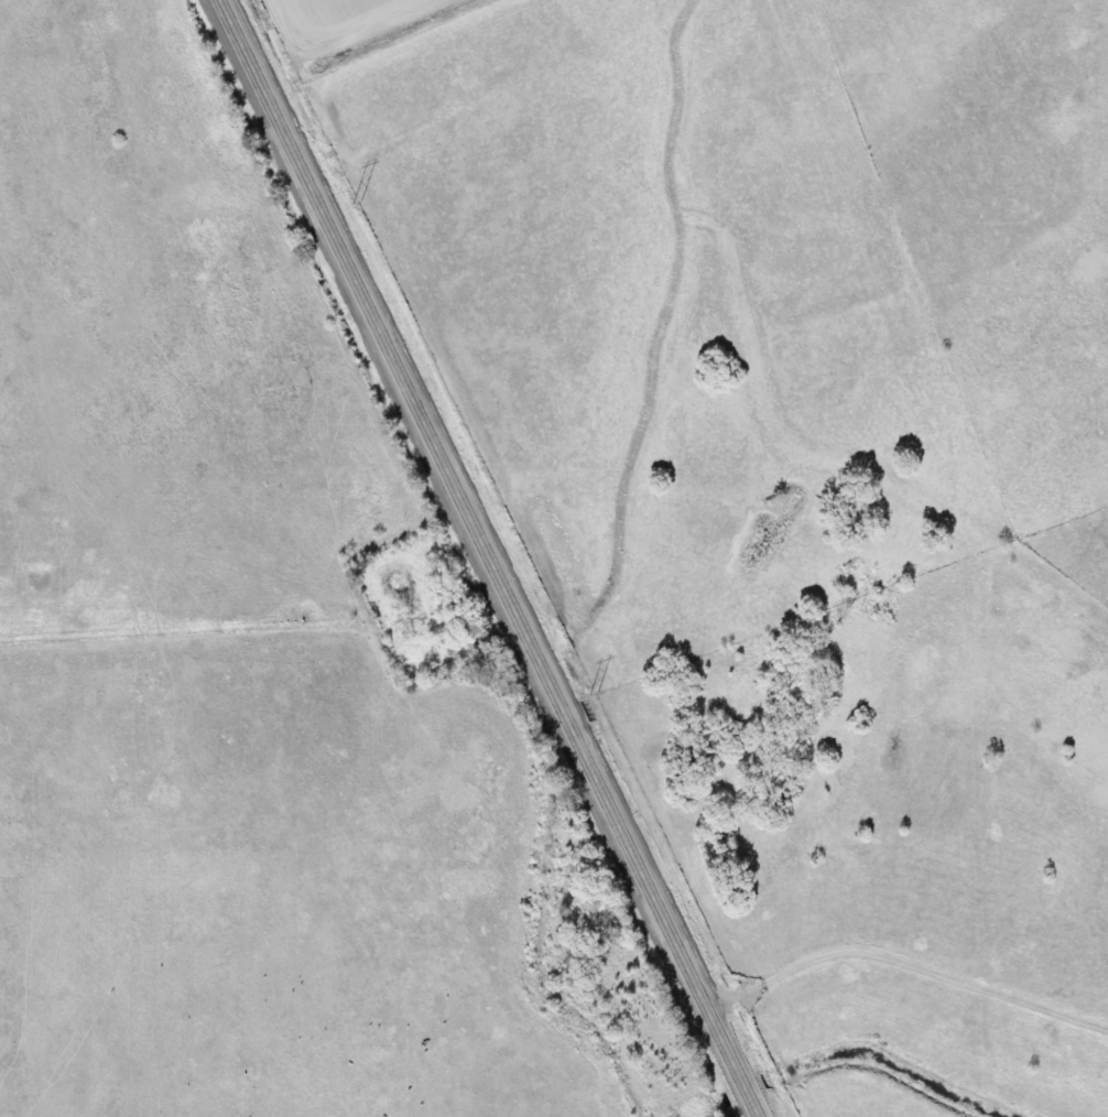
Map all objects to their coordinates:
power tower: (356, 200)
road: (487, 558)
power tower: (593, 692)
road: (905, 964)

